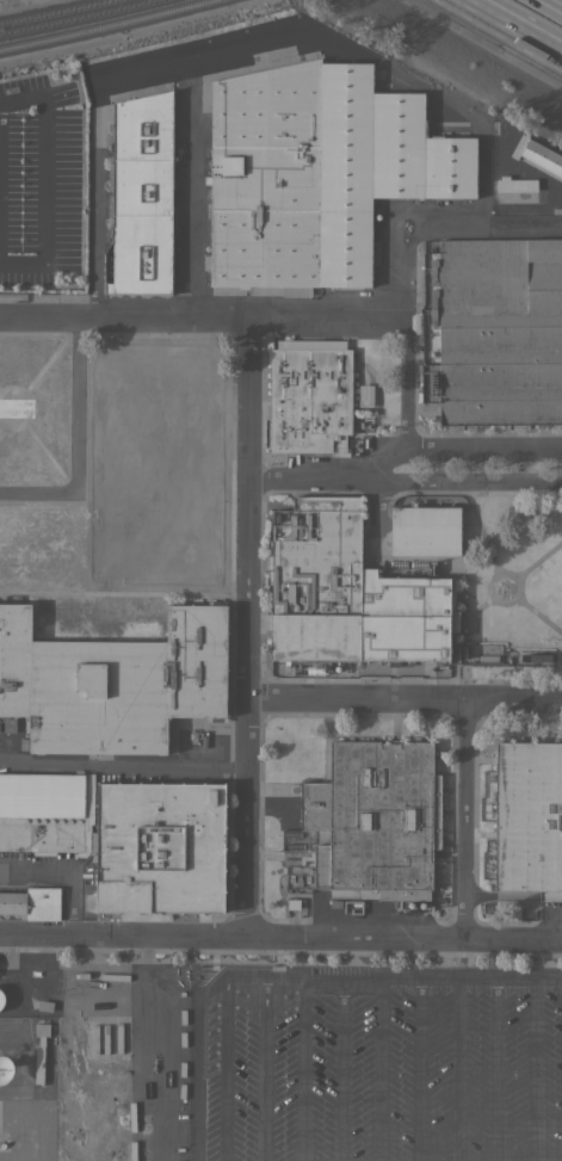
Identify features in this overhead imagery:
railway: (60, 13)
railway: (85, 20)
railway: (105, 25)
road: (509, 30)
road: (154, 64)
road: (455, 105)
building: (538, 154)
road: (524, 169)
building: (316, 173)
road: (45, 177)
building: (515, 184)
building: (142, 194)
road: (521, 230)
road: (203, 316)
road: (327, 316)
building: (453, 331)
building: (520, 332)
road: (404, 382)
building: (309, 396)
road: (76, 405)
road: (451, 445)
road: (403, 477)
road: (62, 493)
building: (425, 530)
road: (484, 533)
road: (539, 558)
road: (517, 576)
park: (515, 582)
fountain: (505, 583)
building: (348, 593)
road: (481, 605)
road: (539, 613)
building: (113, 680)
road: (406, 697)
road: (248, 704)
road: (124, 762)
road: (468, 817)
building: (529, 819)
building: (373, 821)
building: (125, 835)
road: (70, 866)
building: (32, 903)
road: (280, 938)
road: (242, 975)
road: (468, 977)
road: (338, 984)
building: (1, 999)
building: (39, 1050)
parking lot: (376, 1063)
road: (263, 1068)
road: (418, 1069)
road: (457, 1069)
road: (495, 1069)
road: (532, 1069)
road: (223, 1072)
road: (340, 1073)
road: (378, 1074)
road: (299, 1076)

